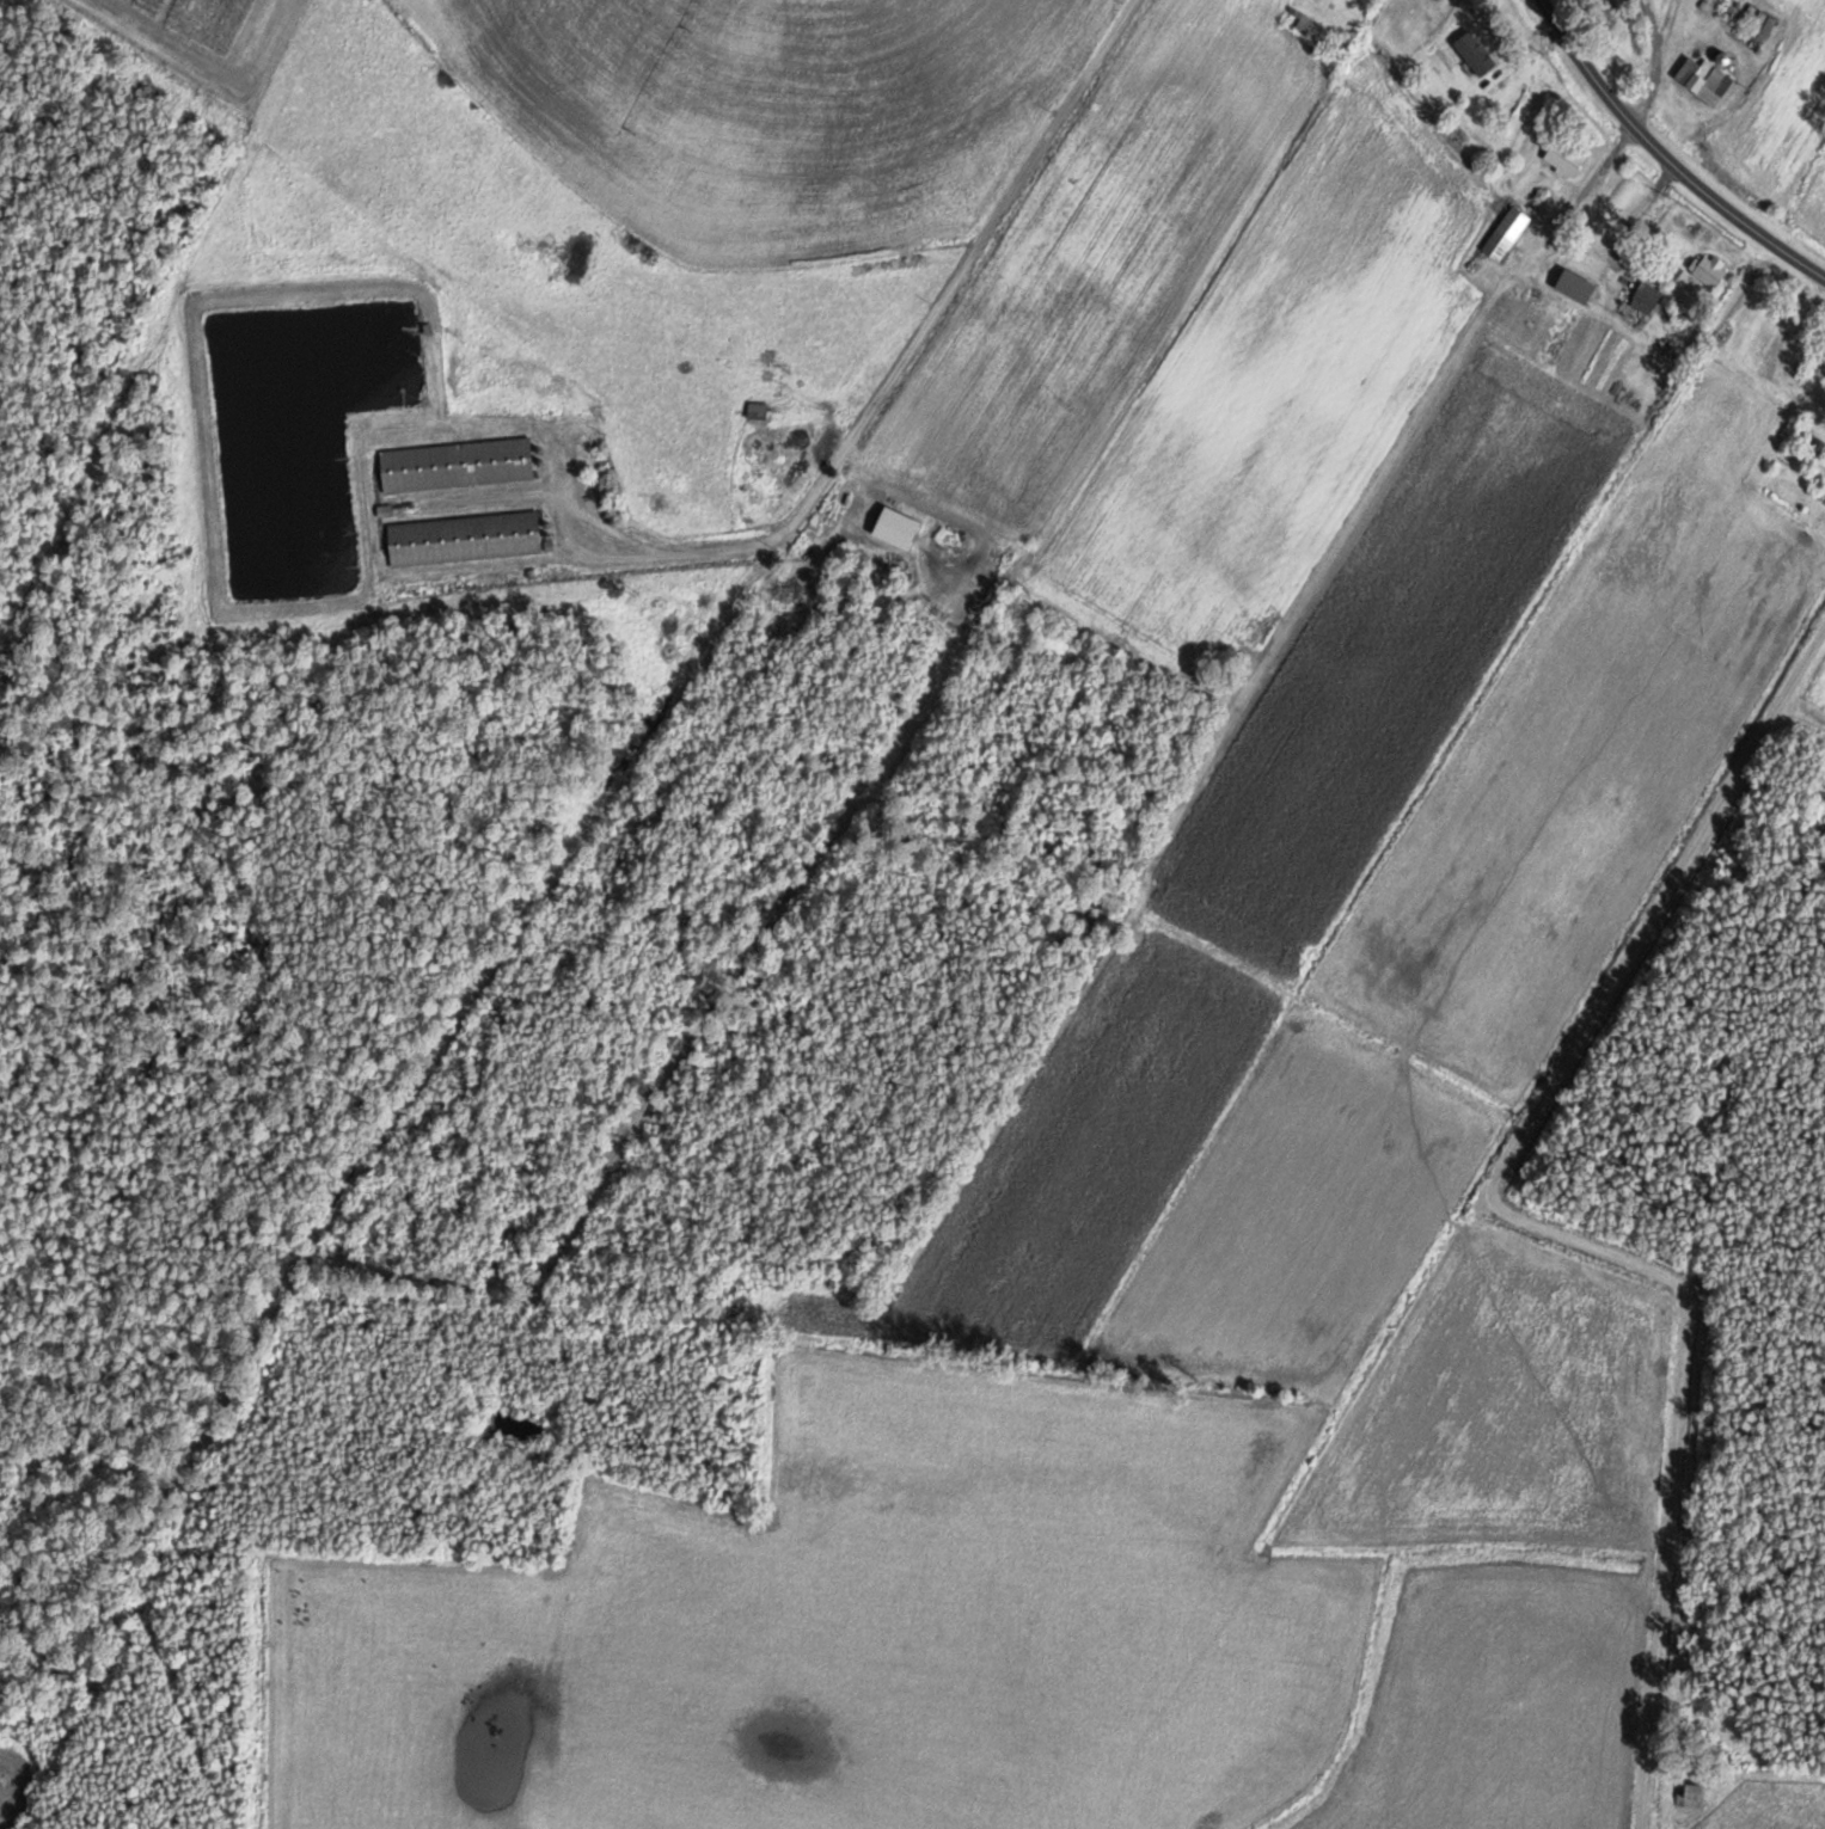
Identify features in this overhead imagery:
building: (1293, 17)
building: (1743, 36)
building: (1464, 56)
building: (1700, 78)
building: (1560, 155)
road: (1664, 158)
building: (1501, 232)
building: (1704, 268)
building: (1569, 284)
building: (1643, 293)
building: (451, 464)
building: (459, 538)
building: (1684, 1793)

